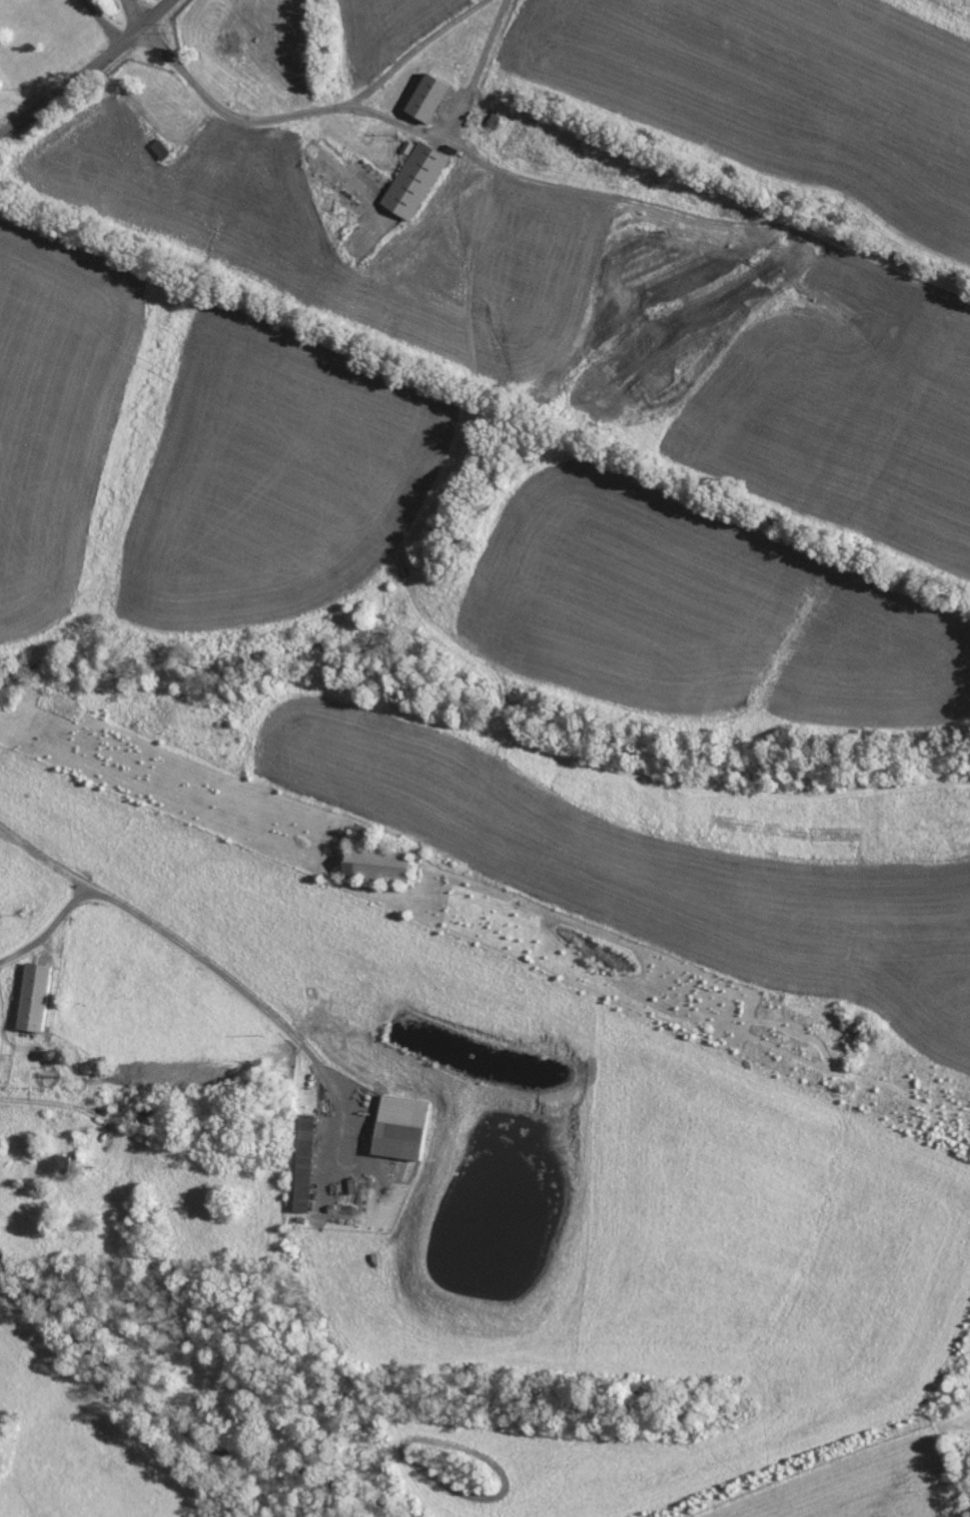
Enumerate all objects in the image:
road: (141, 11)
road: (102, 24)
road: (90, 74)
building: (428, 97)
road: (409, 127)
building: (415, 180)
road: (167, 936)
building: (33, 997)
building: (401, 1128)
building: (305, 1164)
building: (62, 1165)

